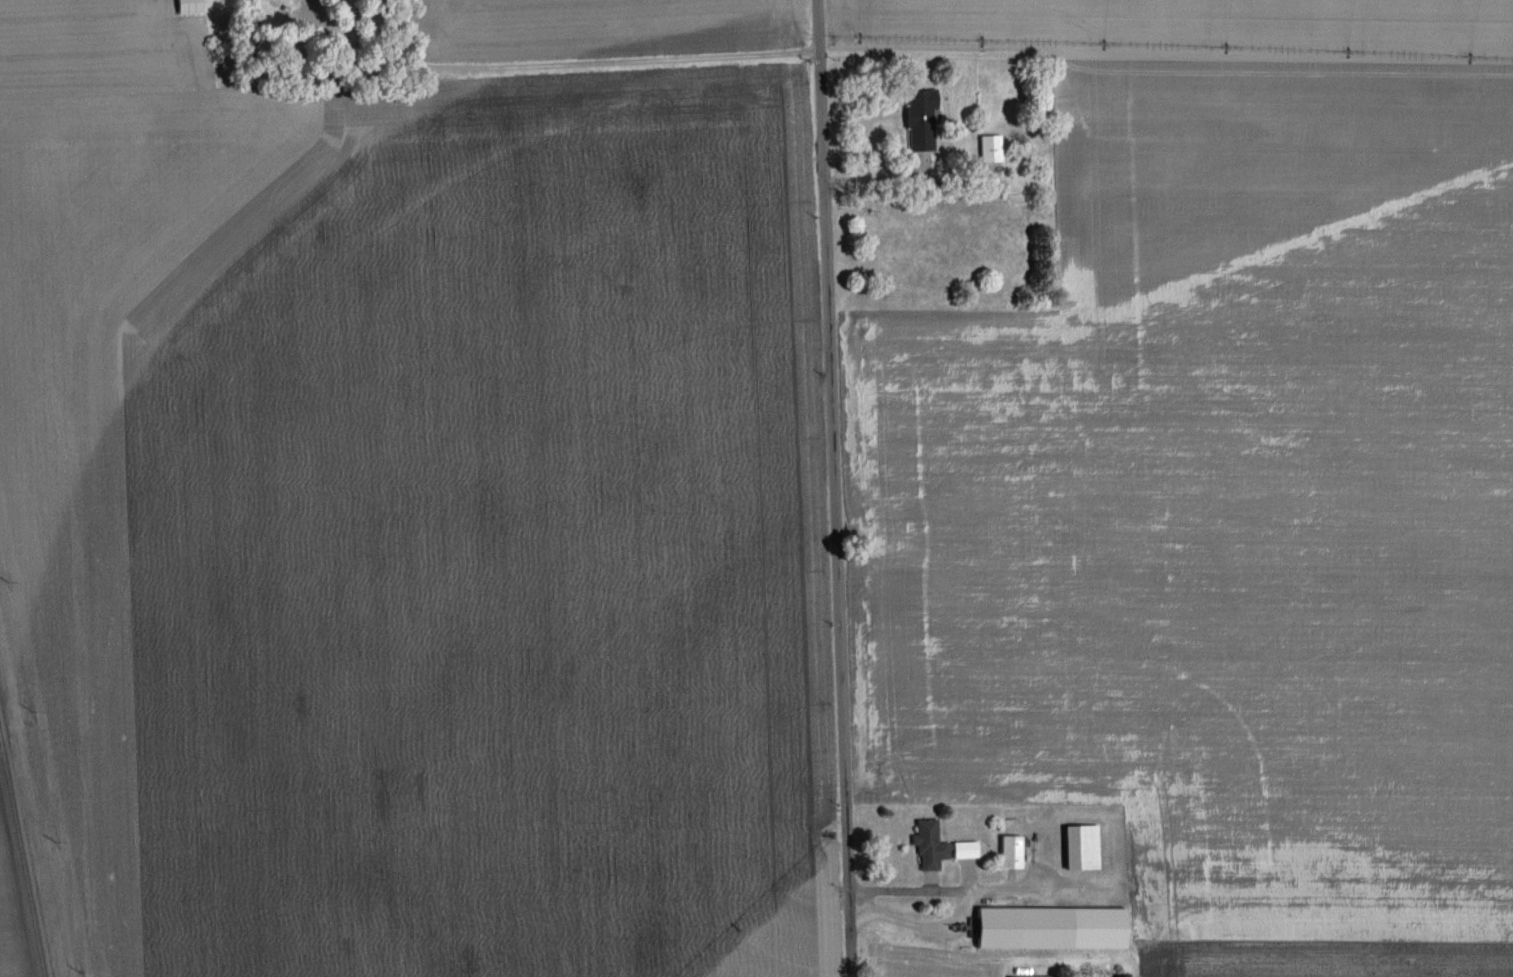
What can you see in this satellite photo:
building: (187, 7)
road: (560, 65)
building: (919, 120)
building: (989, 149)
road: (836, 488)
building: (929, 846)
building: (1080, 848)
building: (964, 851)
building: (1010, 852)
railway: (21, 859)
road: (1028, 882)
road: (962, 896)
building: (1049, 929)

